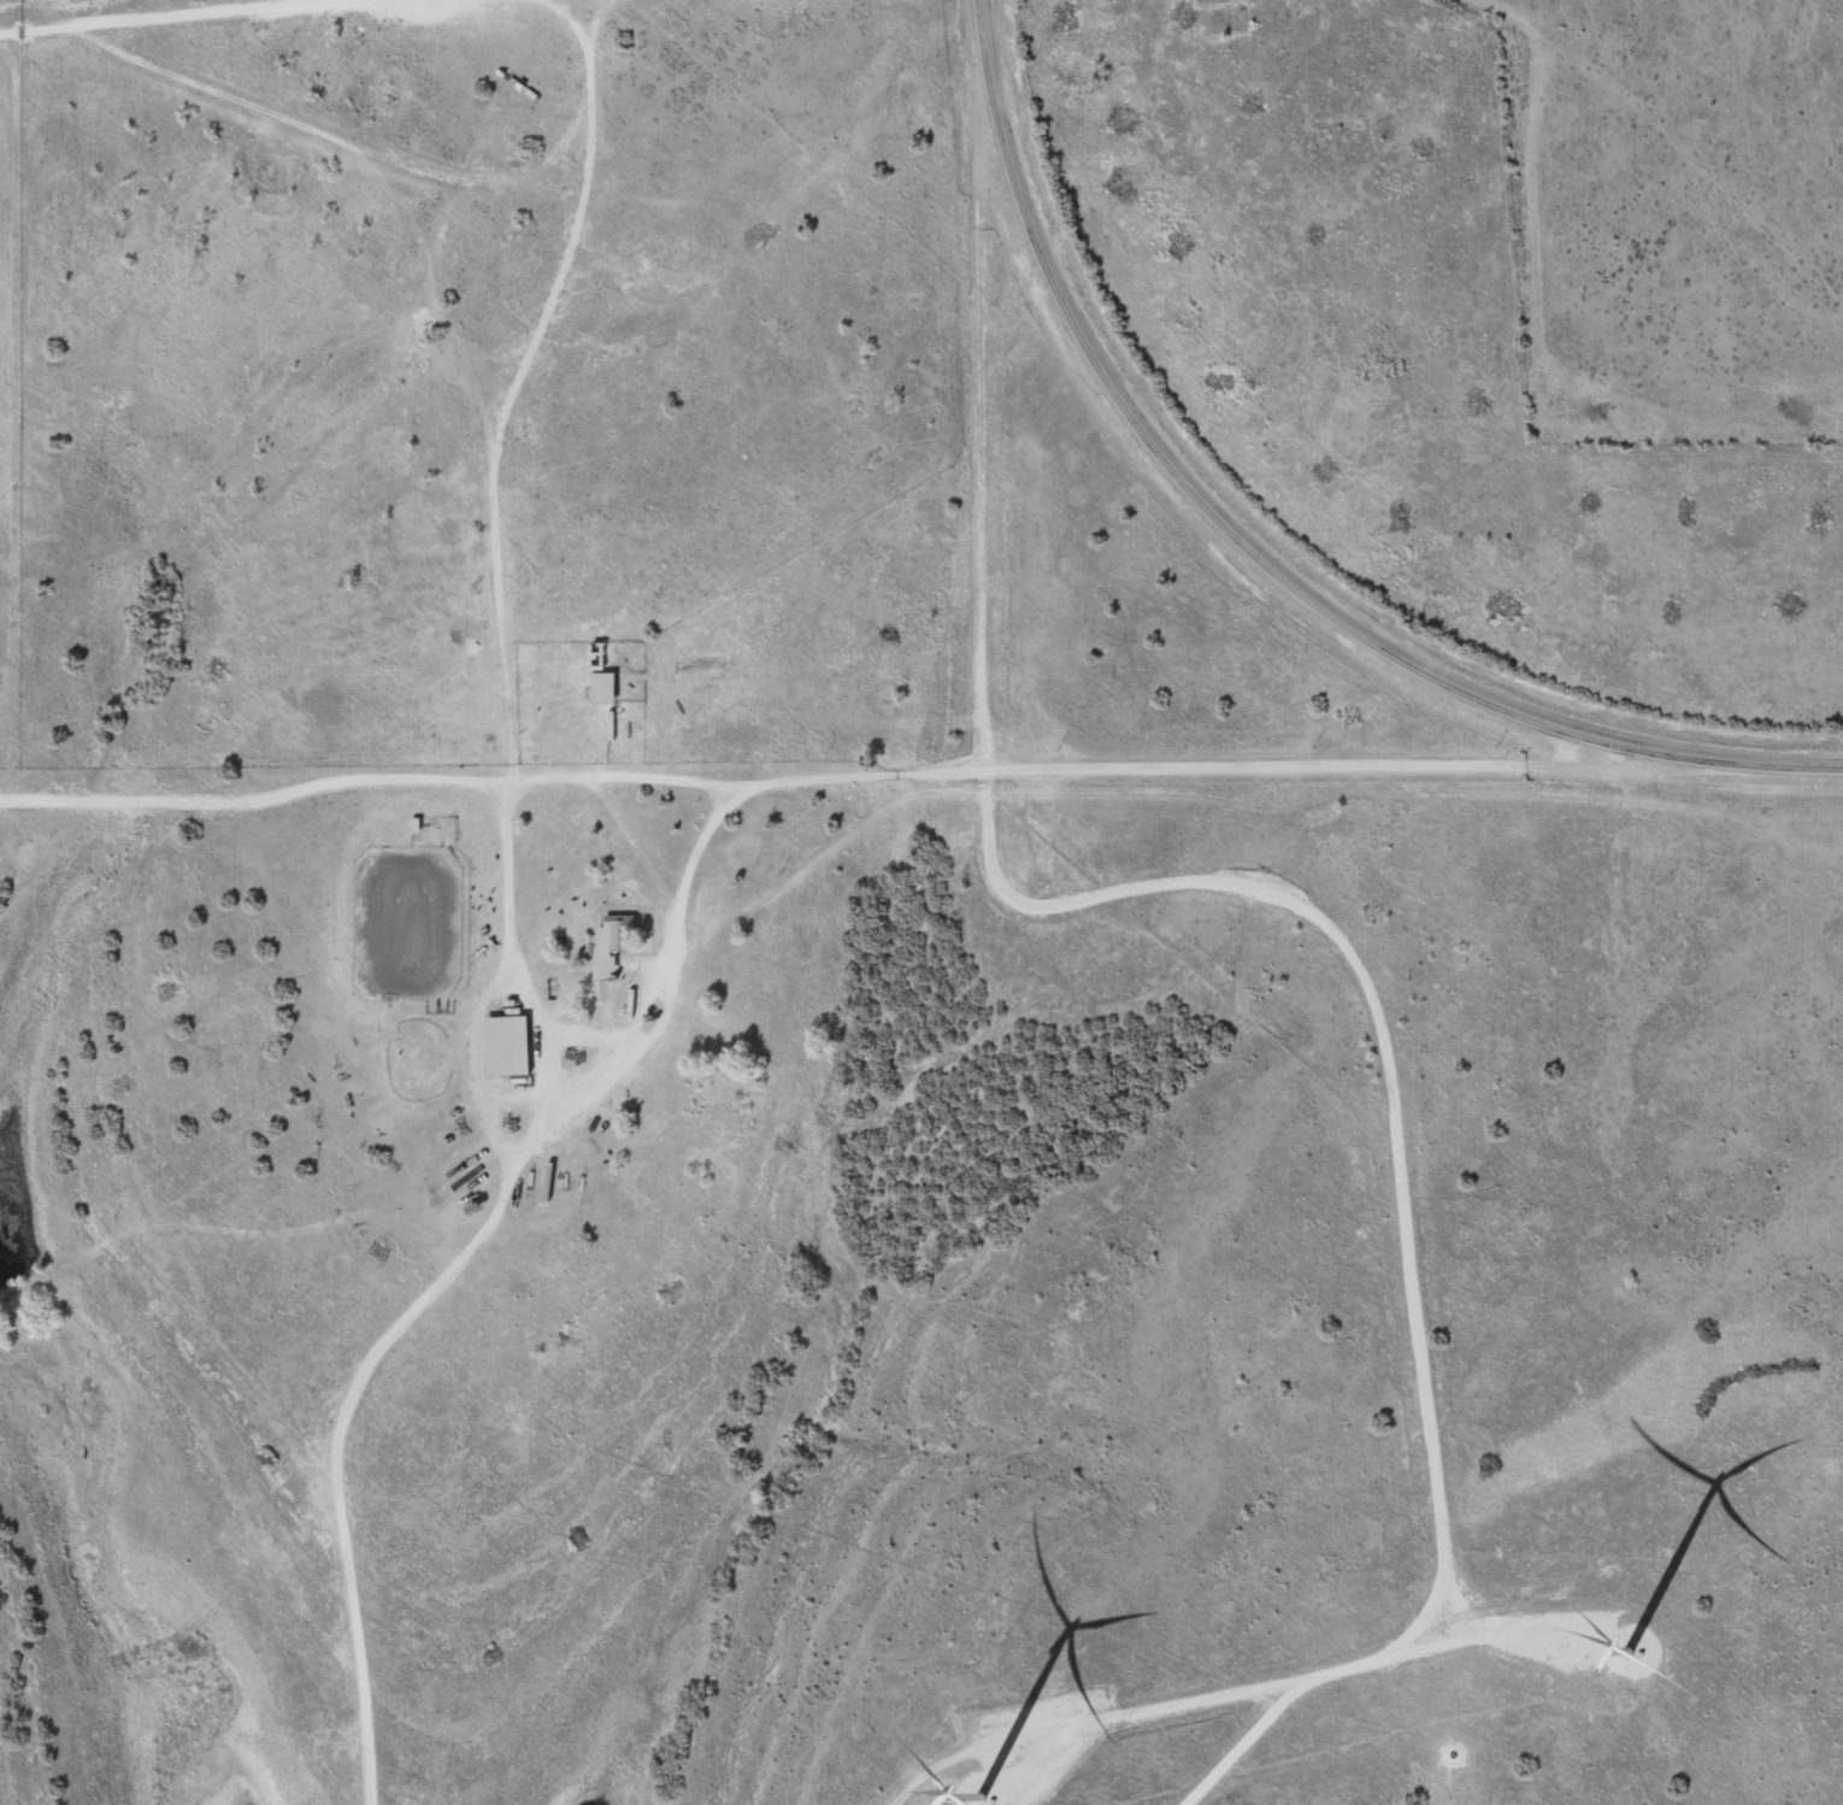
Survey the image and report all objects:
road: (196, 18)
road: (520, 383)
road: (985, 407)
road: (1262, 547)
building: (605, 687)
road: (618, 780)
building: (607, 948)
road: (671, 969)
road: (1408, 1197)
wind turbine: (1601, 1619)

